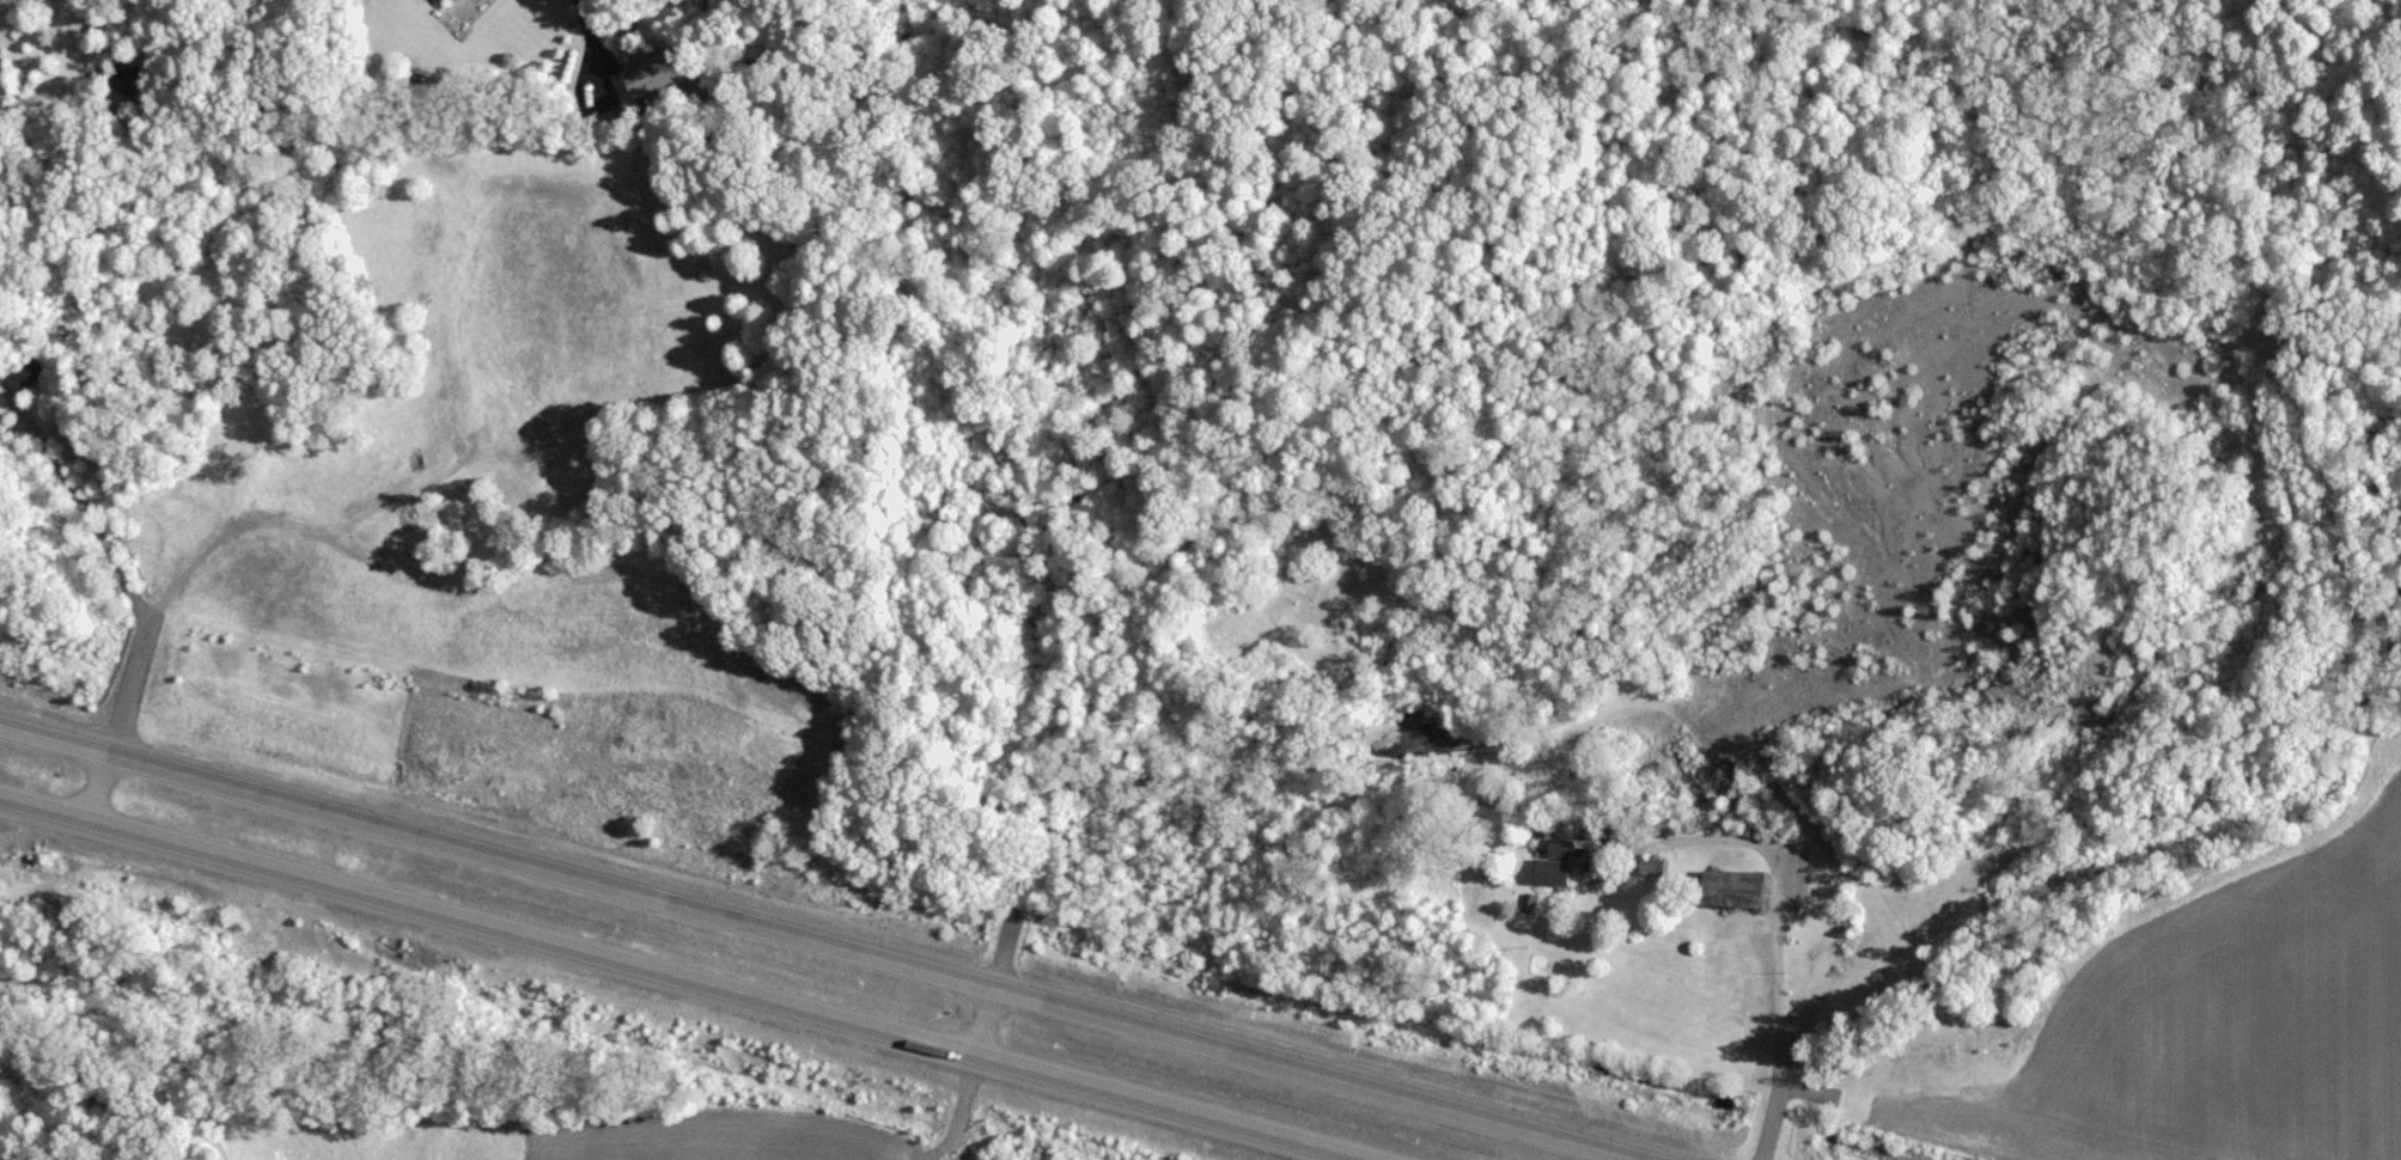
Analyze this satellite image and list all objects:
road: (587, 18)
building: (31, 370)
road: (128, 586)
building: (1547, 871)
building: (1720, 887)
road: (1777, 934)
road: (823, 941)
road: (691, 977)
road: (983, 1020)

